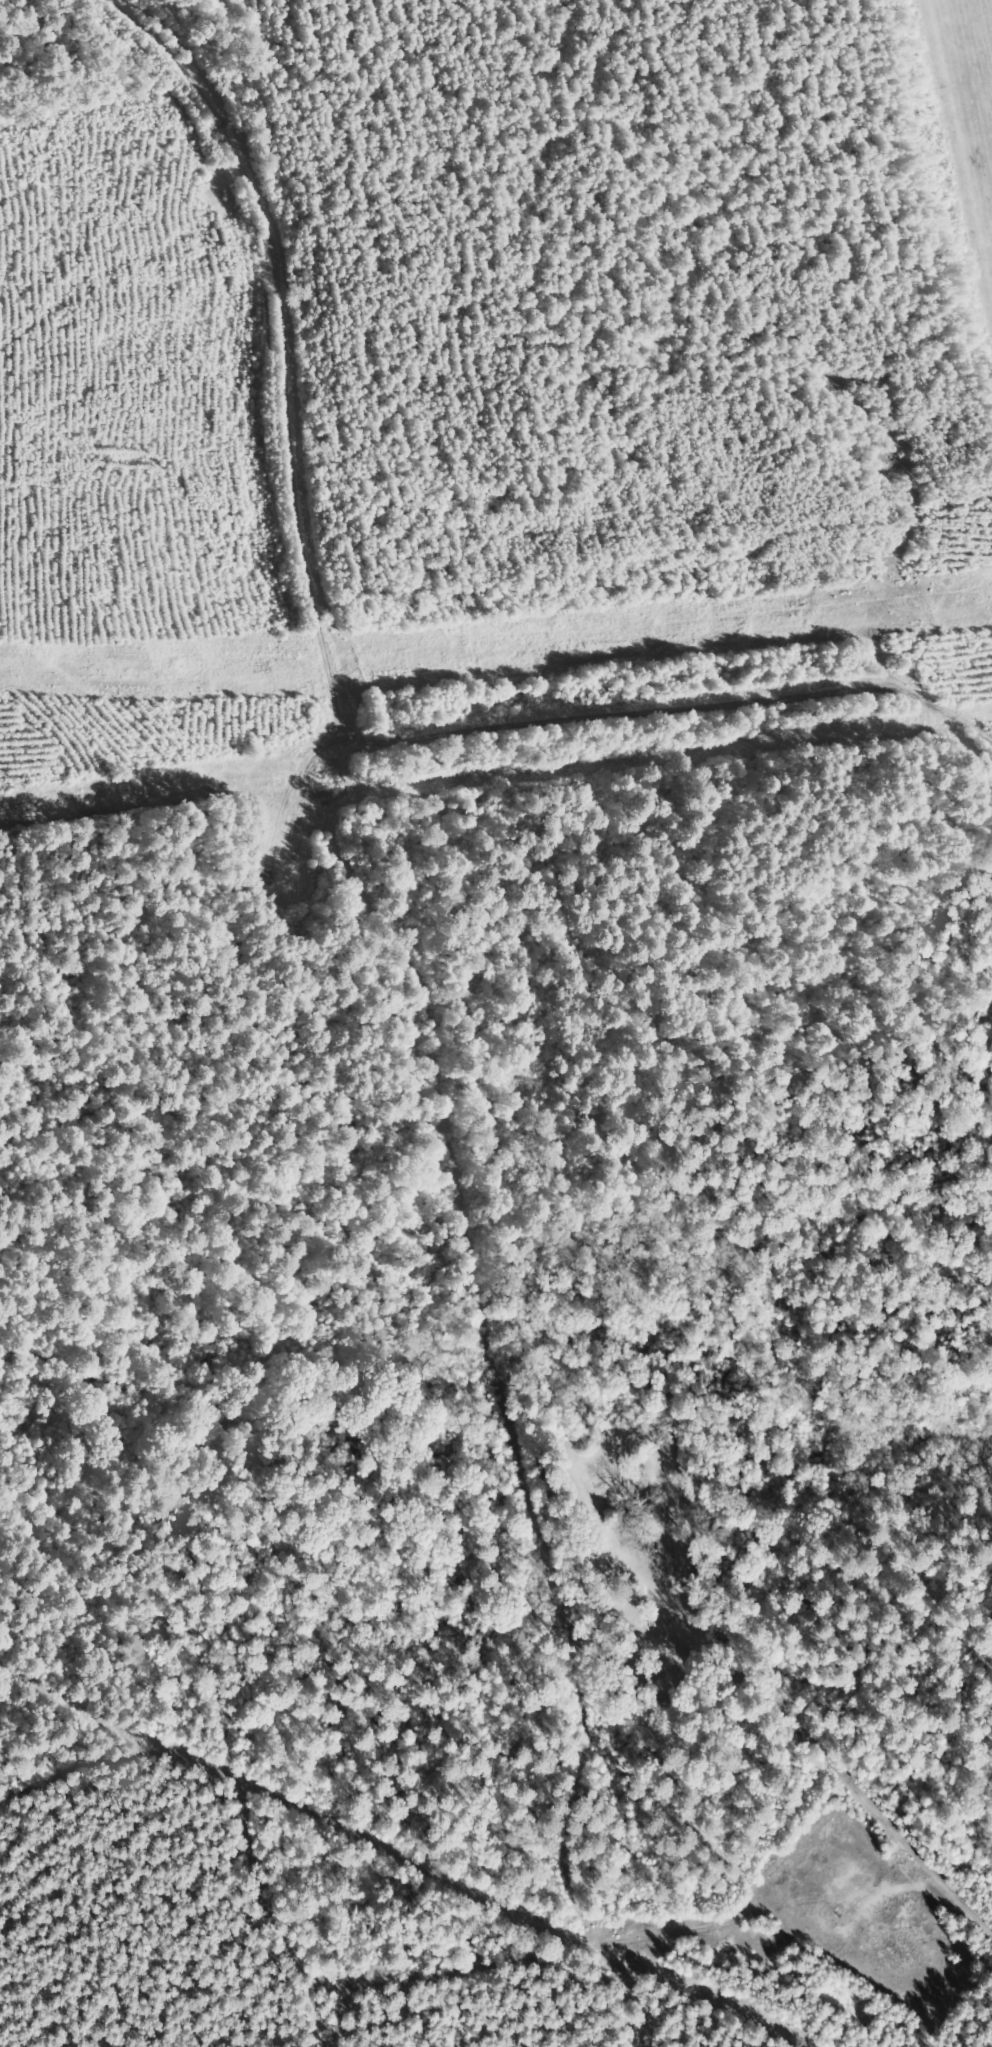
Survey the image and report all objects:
road: (786, 1710)

